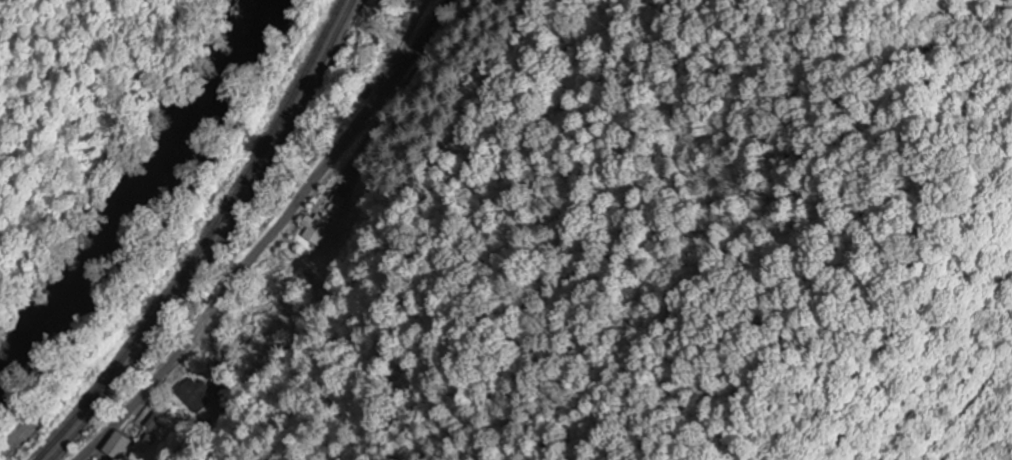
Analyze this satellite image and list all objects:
railway: (267, 138)
railway: (277, 141)
river: (144, 201)
building: (318, 230)
road: (269, 234)
railway: (111, 366)
railway: (124, 370)
building: (190, 392)

